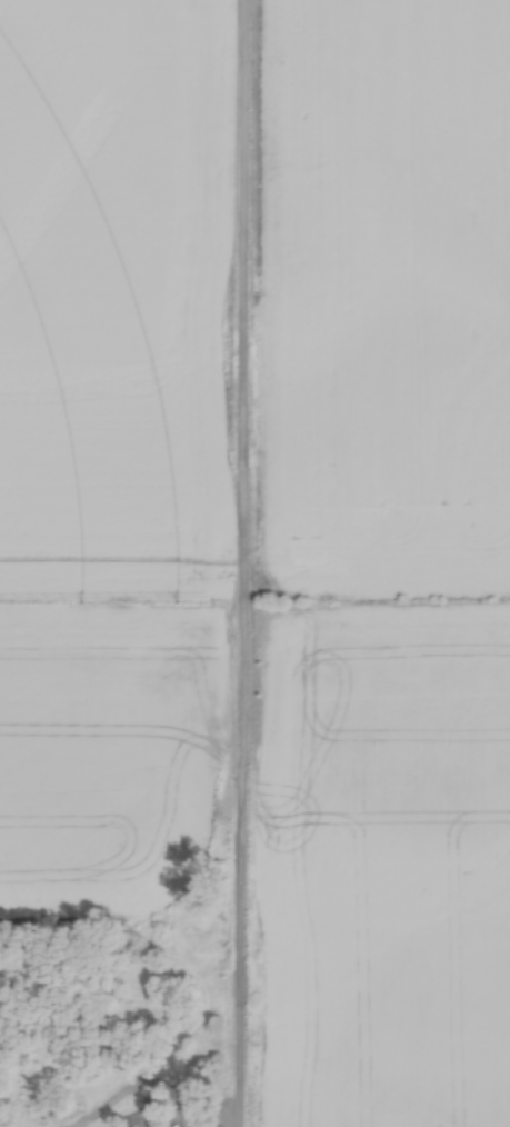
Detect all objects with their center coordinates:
road: (236, 562)
building: (134, 1125)

